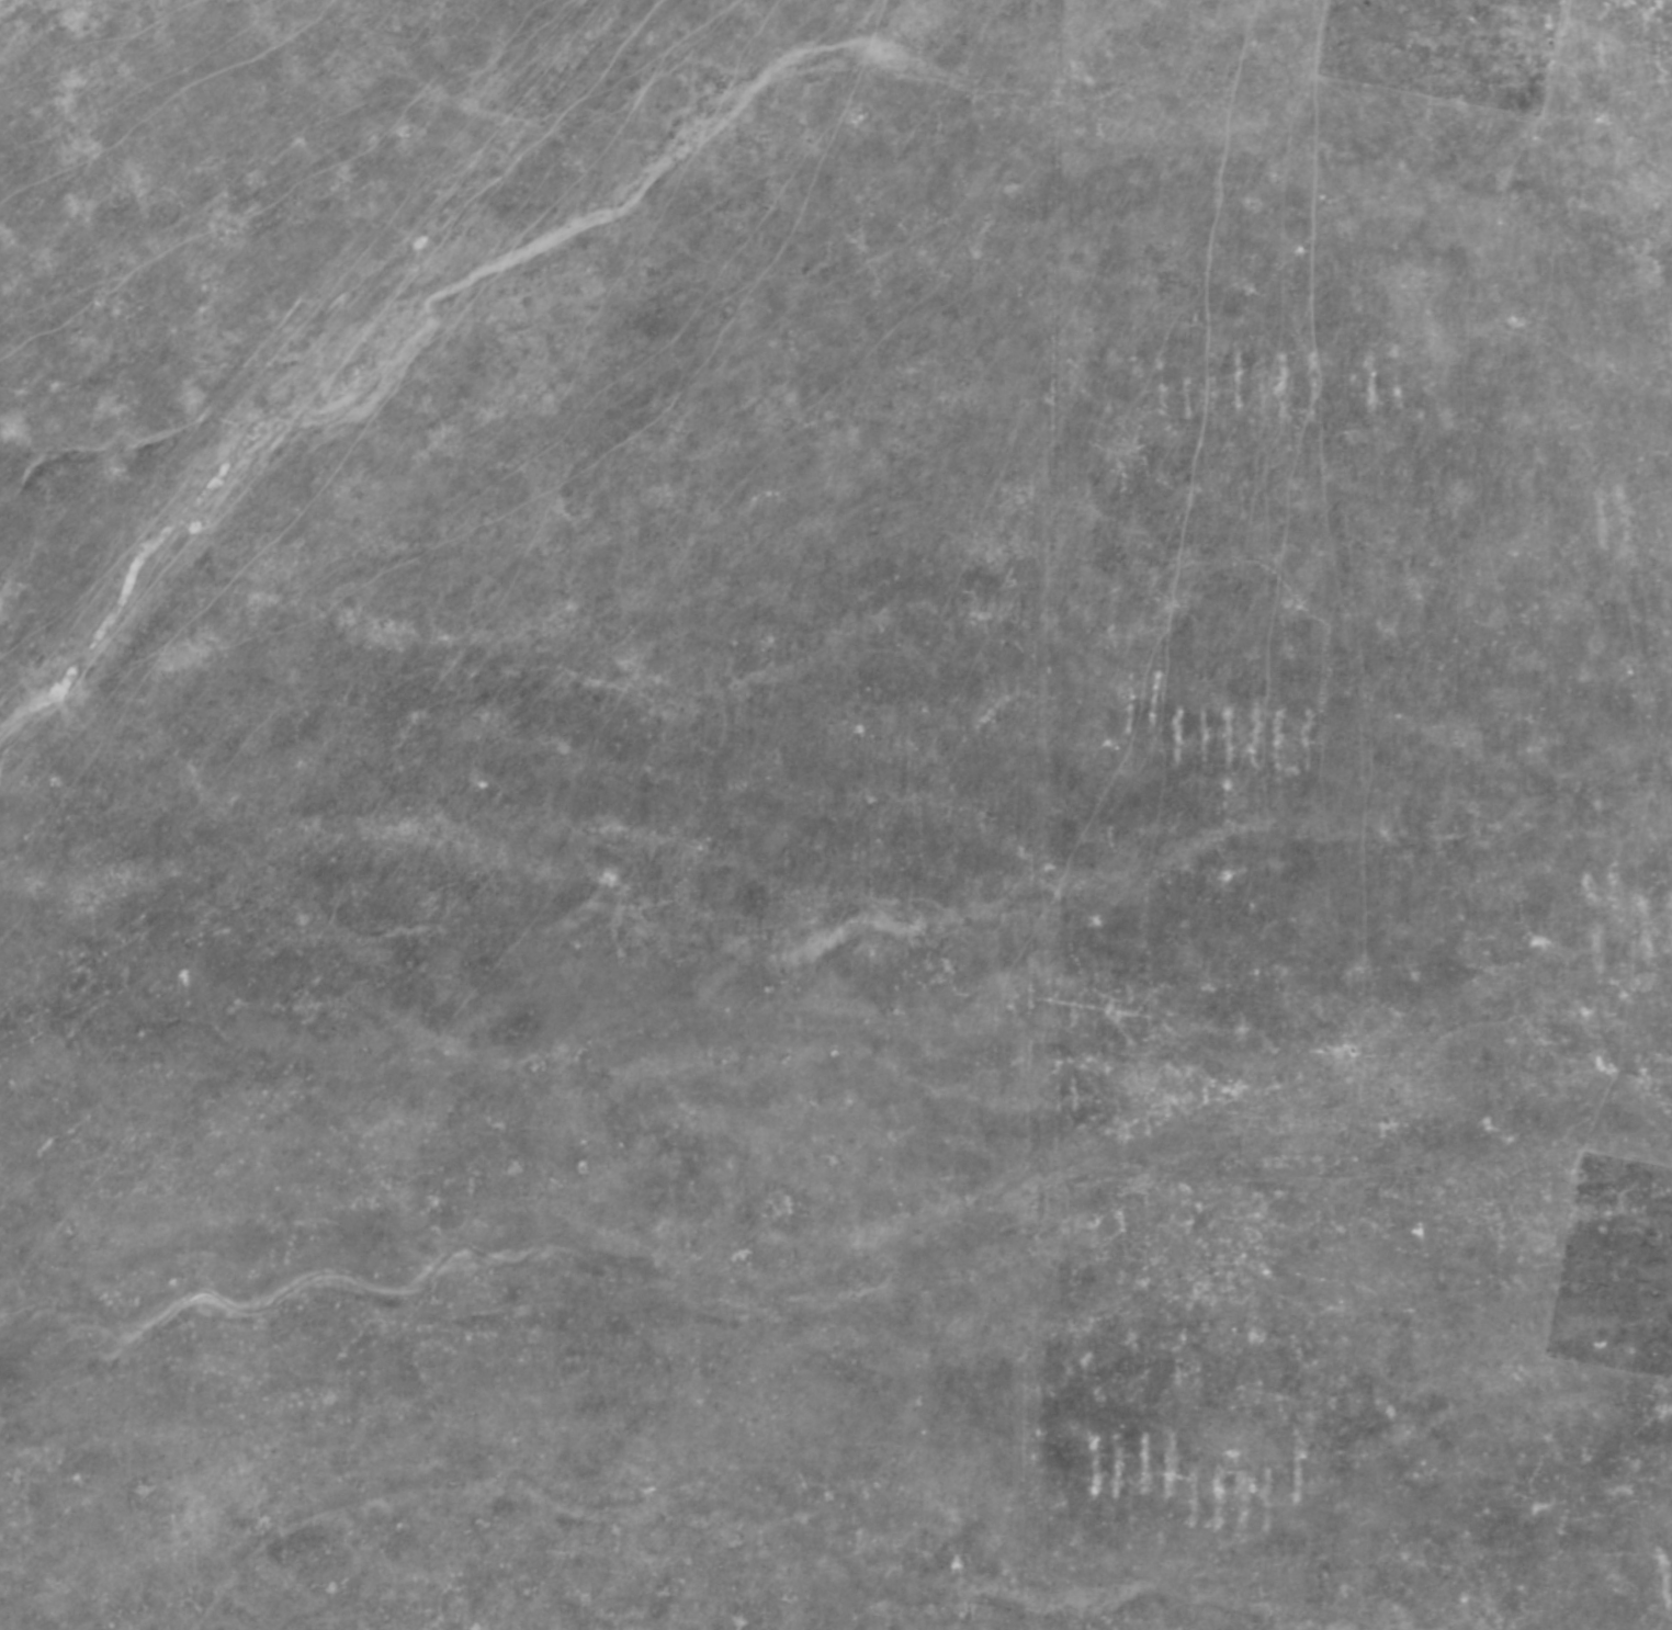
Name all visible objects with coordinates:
road: (310, 393)

